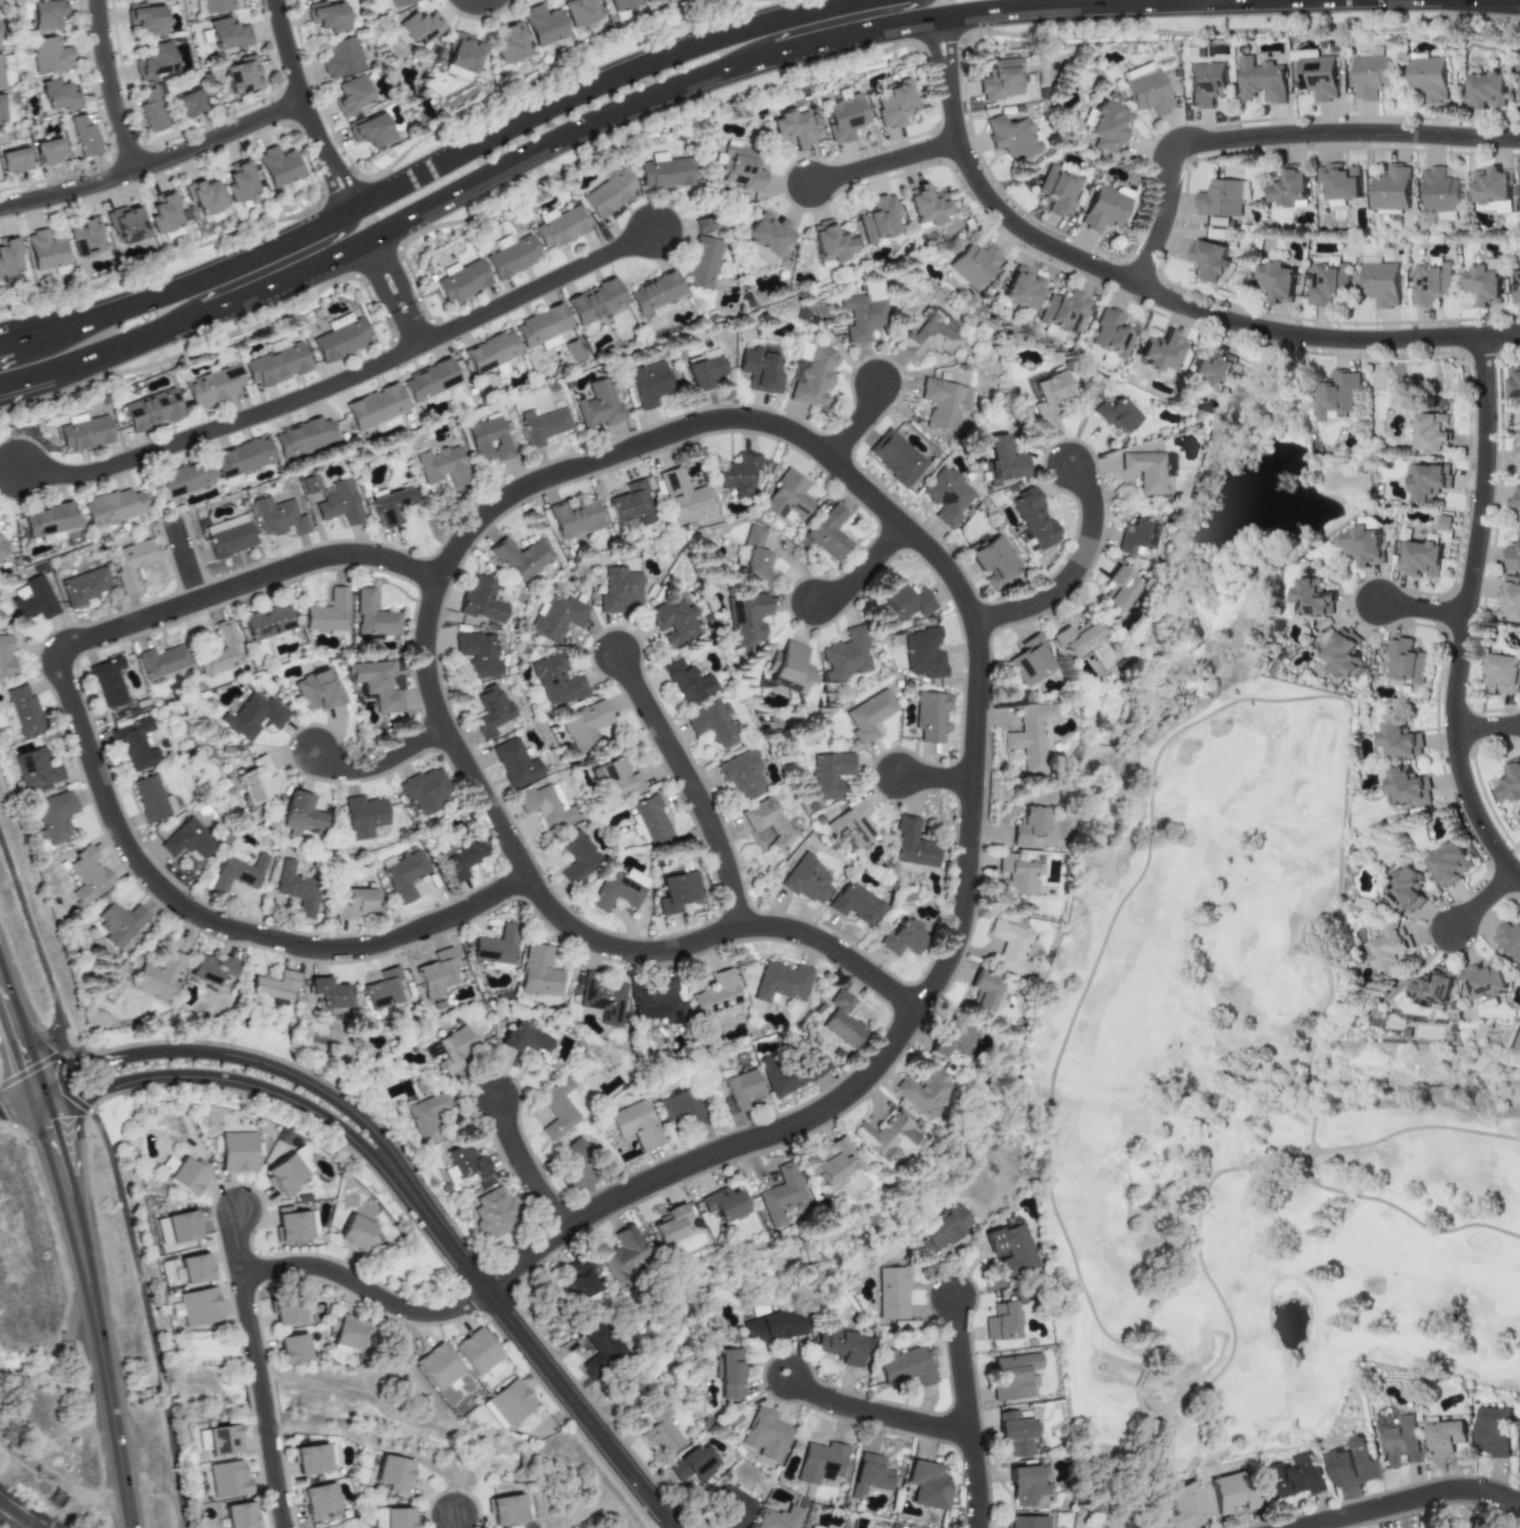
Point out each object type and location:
building: (646, 0)
building: (399, 2)
building: (621, 4)
building: (217, 5)
building: (580, 11)
building: (46, 13)
building: (328, 15)
building: (147, 17)
road: (825, 23)
building: (544, 24)
building: (418, 27)
building: (228, 33)
street lamp: (978, 37)
building: (511, 43)
building: (462, 52)
building: (1303, 53)
building: (49, 55)
building: (342, 57)
building: (154, 62)
building: (1, 73)
building: (456, 73)
building: (242, 75)
building: (1370, 76)
building: (1318, 77)
building: (1428, 78)
building: (1001, 79)
building: (1261, 80)
building: (1519, 80)
building: (1206, 83)
road: (113, 86)
building: (1146, 88)
building: (1485, 89)
building: (59, 94)
building: (351, 95)
building: (894, 102)
building: (189, 103)
road: (307, 107)
building: (1, 110)
building: (152, 110)
building: (844, 116)
street lamp: (219, 123)
street lamp: (1458, 124)
building: (1108, 126)
street lamp: (1238, 127)
building: (792, 128)
building: (370, 130)
road: (572, 132)
road: (1273, 135)
building: (85, 136)
building: (1012, 136)
street lamp: (1368, 146)
street lamp: (880, 149)
building: (49, 150)
building: (15, 160)
road: (883, 163)
road: (155, 164)
building: (278, 166)
building: (740, 168)
road: (427, 169)
street lamp: (954, 170)
building: (665, 173)
street lamp: (1183, 174)
street lamp: (44, 180)
building: (240, 181)
building: (1341, 181)
building: (1291, 187)
building: (1058, 188)
building: (1393, 188)
street lamp: (137, 190)
building: (1441, 190)
building: (1491, 190)
building: (608, 193)
building: (204, 196)
building: (1223, 197)
building: (925, 206)
building: (1103, 209)
street lamp: (803, 213)
building: (165, 215)
building: (1445, 215)
building: (879, 220)
building: (125, 224)
building: (702, 225)
building: (560, 228)
building: (765, 235)
building: (84, 238)
building: (829, 241)
street lamp: (1022, 249)
building: (44, 250)
building: (511, 255)
road: (172, 258)
building: (9, 259)
building: (1209, 259)
street lamp: (1110, 260)
building: (701, 263)
building: (974, 264)
road: (268, 268)
building: (462, 281)
building: (1276, 281)
building: (1327, 281)
building: (1430, 281)
building: (1381, 283)
building: (1482, 284)
building: (1516, 286)
road: (537, 288)
building: (1021, 288)
building: (655, 291)
road: (1148, 291)
road: (393, 292)
building: (595, 301)
building: (1062, 311)
building: (864, 312)
building: (541, 325)
building: (931, 335)
building: (340, 337)
building: (1109, 337)
building: (491, 351)
building: (572, 351)
building: (1161, 353)
building: (276, 363)
building: (759, 368)
building: (1212, 369)
building: (704, 372)
building: (811, 374)
building: (429, 379)
building: (1514, 382)
building: (648, 383)
building: (212, 386)
building: (1049, 394)
building: (1336, 394)
building: (944, 402)
building: (596, 404)
building: (375, 406)
building: (151, 409)
building: (1115, 416)
road: (860, 424)
building: (542, 425)
road: (222, 426)
building: (1432, 432)
building: (83, 433)
building: (303, 436)
road: (800, 438)
building: (489, 439)
building: (243, 457)
building: (896, 457)
building: (1517, 458)
building: (1002, 461)
building: (444, 466)
building: (1149, 469)
building: (738, 474)
building: (184, 478)
building: (311, 483)
building: (1428, 483)
building: (681, 494)
building: (947, 495)
building: (1516, 496)
building: (629, 501)
building: (340, 503)
building: (390, 506)
building: (111, 507)
building: (279, 517)
building: (573, 517)
building: (1034, 518)
building: (48, 519)
building: (1444, 521)
building: (830, 532)
building: (229, 535)
building: (50, 537)
building: (1137, 537)
building: (2, 542)
building: (1363, 545)
building: (1512, 555)
building: (520, 556)
building: (1421, 557)
road: (186, 559)
building: (994, 561)
building: (130, 563)
road: (1072, 565)
road: (863, 569)
building: (84, 586)
building: (619, 590)
building: (1117, 591)
building: (32, 598)
building: (1312, 598)
building: (1509, 599)
building: (482, 600)
building: (903, 602)
road: (1423, 609)
building: (329, 612)
road: (1466, 615)
building: (374, 616)
building: (746, 617)
building: (558, 618)
building: (673, 622)
building: (268, 623)
building: (1076, 637)
building: (221, 651)
building: (479, 653)
building: (924, 653)
building: (846, 654)
building: (1343, 654)
building: (6, 658)
building: (1030, 660)
building: (163, 661)
building: (1405, 662)
building: (789, 668)
building: (1503, 672)
building: (556, 680)
building: (109, 681)
building: (689, 682)
building: (378, 684)
building: (318, 690)
building: (24, 710)
building: (491, 710)
building: (870, 715)
building: (254, 716)
building: (932, 716)
building: (715, 723)
building: (584, 725)
road: (1488, 727)
building: (1030, 737)
building: (1400, 741)
building: (137, 744)
building: (516, 763)
road: (381, 765)
building: (36, 768)
building: (829, 774)
road: (99, 775)
building: (743, 775)
building: (616, 778)
road: (938, 778)
building: (256, 779)
building: (1511, 781)
road: (693, 786)
building: (1408, 786)
building: (426, 790)
building: (152, 798)
building: (547, 806)
building: (303, 811)
building: (365, 816)
building: (55, 817)
building: (652, 819)
building: (766, 823)
building: (852, 823)
building: (1026, 824)
building: (189, 839)
building: (915, 844)
building: (578, 857)
building: (462, 860)
building: (1449, 863)
building: (238, 871)
building: (1018, 874)
building: (88, 875)
building: (406, 875)
building: (636, 877)
building: (808, 879)
building: (297, 888)
building: (1406, 888)
building: (678, 891)
building: (616, 892)
road: (1484, 901)
building: (857, 903)
building: (354, 904)
building: (120, 922)
building: (903, 938)
building: (1509, 938)
building: (497, 948)
building: (1011, 948)
building: (1388, 950)
building: (211, 968)
building: (539, 972)
building: (437, 973)
building: (161, 974)
building: (1483, 980)
building: (782, 981)
building: (274, 985)
building: (1433, 987)
building: (383, 989)
building: (329, 993)
building: (717, 993)
building: (982, 994)
building: (657, 1002)
building: (843, 1020)
building: (523, 1039)
building: (952, 1039)
street lamp: (52, 1040)
street lamp: (118, 1046)
street lamp: (233, 1046)
building: (453, 1048)
street lamp: (175, 1060)
road: (274, 1061)
traffic signals: (22, 1064)
road: (75, 1065)
traffic signals: (71, 1067)
building: (792, 1072)
street lamp: (281, 1083)
road: (217, 1084)
building: (742, 1088)
street lamp: (225, 1090)
street lamp: (343, 1092)
building: (926, 1092)
street lamp: (131, 1094)
road: (76, 1101)
road: (18, 1102)
park: (1248, 1106)
building: (680, 1107)
building: (560, 1108)
street lamp: (99, 1111)
building: (428, 1116)
building: (637, 1124)
street lamp: (322, 1126)
traffic signals: (51, 1128)
street lamp: (396, 1137)
building: (886, 1137)
street lamp: (375, 1144)
street lamp: (29, 1145)
building: (238, 1151)
building: (582, 1156)
building: (302, 1157)
building: (833, 1162)
building: (469, 1165)
road: (525, 1166)
building: (189, 1175)
building: (285, 1175)
building: (781, 1194)
street lamp: (396, 1198)
building: (723, 1204)
building: (493, 1211)
building: (292, 1224)
building: (178, 1227)
building: (671, 1227)
building: (942, 1231)
building: (355, 1232)
road: (238, 1243)
street lamp: (255, 1245)
building: (1011, 1248)
building: (623, 1253)
road: (83, 1258)
building: (195, 1268)
road: (328, 1269)
building: (580, 1278)
building: (893, 1293)
building: (199, 1306)
building: (286, 1311)
street lamp: (482, 1317)
building: (1003, 1321)
street lamp: (407, 1325)
building: (774, 1325)
building: (346, 1331)
road: (529, 1343)
building: (842, 1344)
building: (293, 1348)
building: (600, 1349)
building: (478, 1352)
street lamp: (568, 1365)
building: (905, 1365)
building: (438, 1366)
building: (729, 1372)
building: (1013, 1375)
road: (163, 1389)
road: (263, 1389)
building: (510, 1401)
road: (967, 1412)
road: (877, 1414)
building: (663, 1430)
building: (1493, 1431)
building: (1016, 1432)
building: (765, 1435)
building: (1444, 1437)
building: (219, 1439)
street lamp: (286, 1441)
building: (1399, 1441)
street lamp: (598, 1454)
building: (1519, 1458)
building: (310, 1459)
building: (821, 1462)
building: (1352, 1463)
building: (694, 1464)
road: (176, 1467)
road: (276, 1472)
building: (393, 1473)
building: (870, 1475)
building: (1293, 1476)
building: (228, 1478)
street lamp: (653, 1478)
road: (58, 1483)
building: (928, 1485)
building: (1233, 1491)
building: (319, 1501)
road: (1418, 1501)
building: (732, 1506)
building: (1185, 1507)
building: (507, 1509)
railway: (17, 1515)
building: (240, 1515)
building: (398, 1517)
building: (778, 1518)
road: (458, 1521)
building: (1026, 1522)
building: (1461, 1526)

